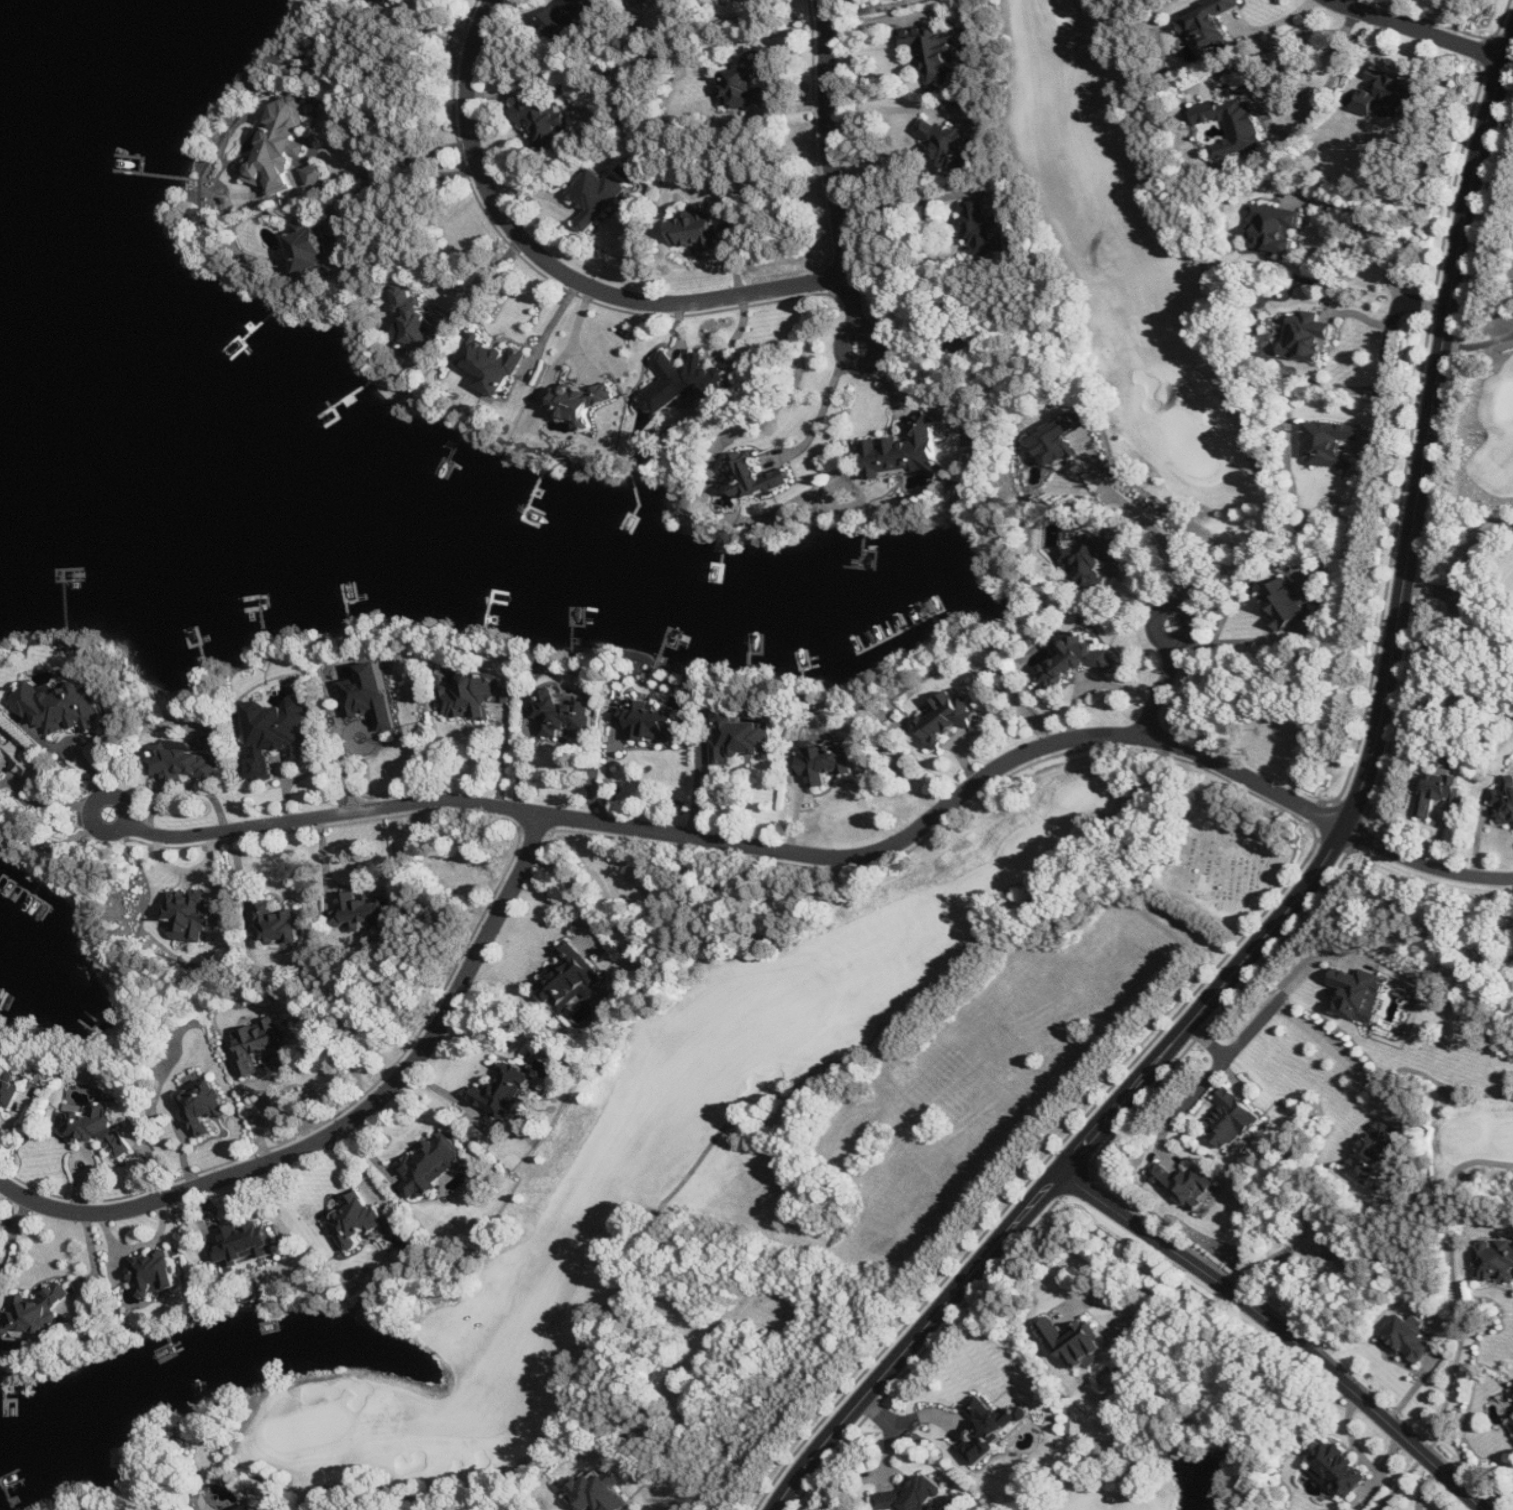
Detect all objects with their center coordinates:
building: (396, 0)
road: (866, 5)
building: (566, 18)
road: (880, 20)
road: (435, 22)
building: (1210, 23)
road: (1275, 24)
road: (1419, 30)
building: (935, 51)
building: (743, 89)
building: (1387, 95)
road: (1263, 97)
road: (881, 110)
building: (545, 124)
building: (1232, 125)
building: (951, 145)
building: (281, 148)
road: (831, 165)
road: (385, 170)
road: (388, 183)
building: (598, 197)
road: (907, 203)
building: (981, 228)
building: (1274, 228)
road: (1371, 228)
building: (698, 231)
building: (317, 250)
road: (556, 267)
road: (488, 277)
building: (416, 323)
road: (553, 327)
road: (858, 329)
road: (577, 335)
building: (1308, 337)
road: (1479, 344)
road: (1385, 359)
building: (493, 364)
building: (684, 383)
building: (584, 402)
park: (1493, 402)
road: (820, 415)
building: (1060, 441)
building: (1331, 445)
building: (908, 452)
building: (757, 477)
road: (1154, 531)
building: (1092, 562)
road: (1463, 568)
building: (1289, 604)
road: (1173, 609)
road: (1238, 642)
building: (1077, 660)
road: (1159, 692)
building: (372, 696)
building: (476, 696)
building: (62, 708)
building: (564, 715)
building: (949, 719)
building: (653, 722)
building: (1, 726)
building: (278, 734)
building: (743, 739)
park: (1178, 743)
road: (506, 754)
building: (20, 760)
road: (525, 761)
building: (828, 763)
road: (612, 774)
road: (697, 790)
building: (1441, 792)
road: (48, 802)
building: (1505, 802)
road: (97, 803)
road: (758, 847)
park: (1229, 860)
road: (1323, 864)
road: (1425, 865)
road: (1008, 893)
building: (365, 911)
building: (194, 915)
building: (280, 925)
building: (572, 979)
building: (1360, 994)
road: (1236, 1043)
building: (258, 1044)
road: (1334, 1049)
road: (1205, 1079)
building: (9, 1089)
building: (507, 1092)
building: (204, 1106)
road: (263, 1109)
building: (1232, 1120)
building: (96, 1125)
road: (348, 1125)
building: (1376, 1151)
building: (432, 1166)
building: (1188, 1185)
building: (359, 1222)
road: (15, 1238)
building: (245, 1246)
park: (1459, 1256)
building: (1496, 1261)
road: (1271, 1262)
building: (157, 1273)
road: (1135, 1307)
building: (38, 1314)
road: (1463, 1322)
road: (1283, 1330)
building: (1410, 1339)
building: (1076, 1343)
road: (883, 1412)
building: (992, 1430)
road: (1156, 1451)
building: (1340, 1470)
park: (1147, 1471)
building: (600, 1491)
building: (912, 1498)
building: (252, 1508)

